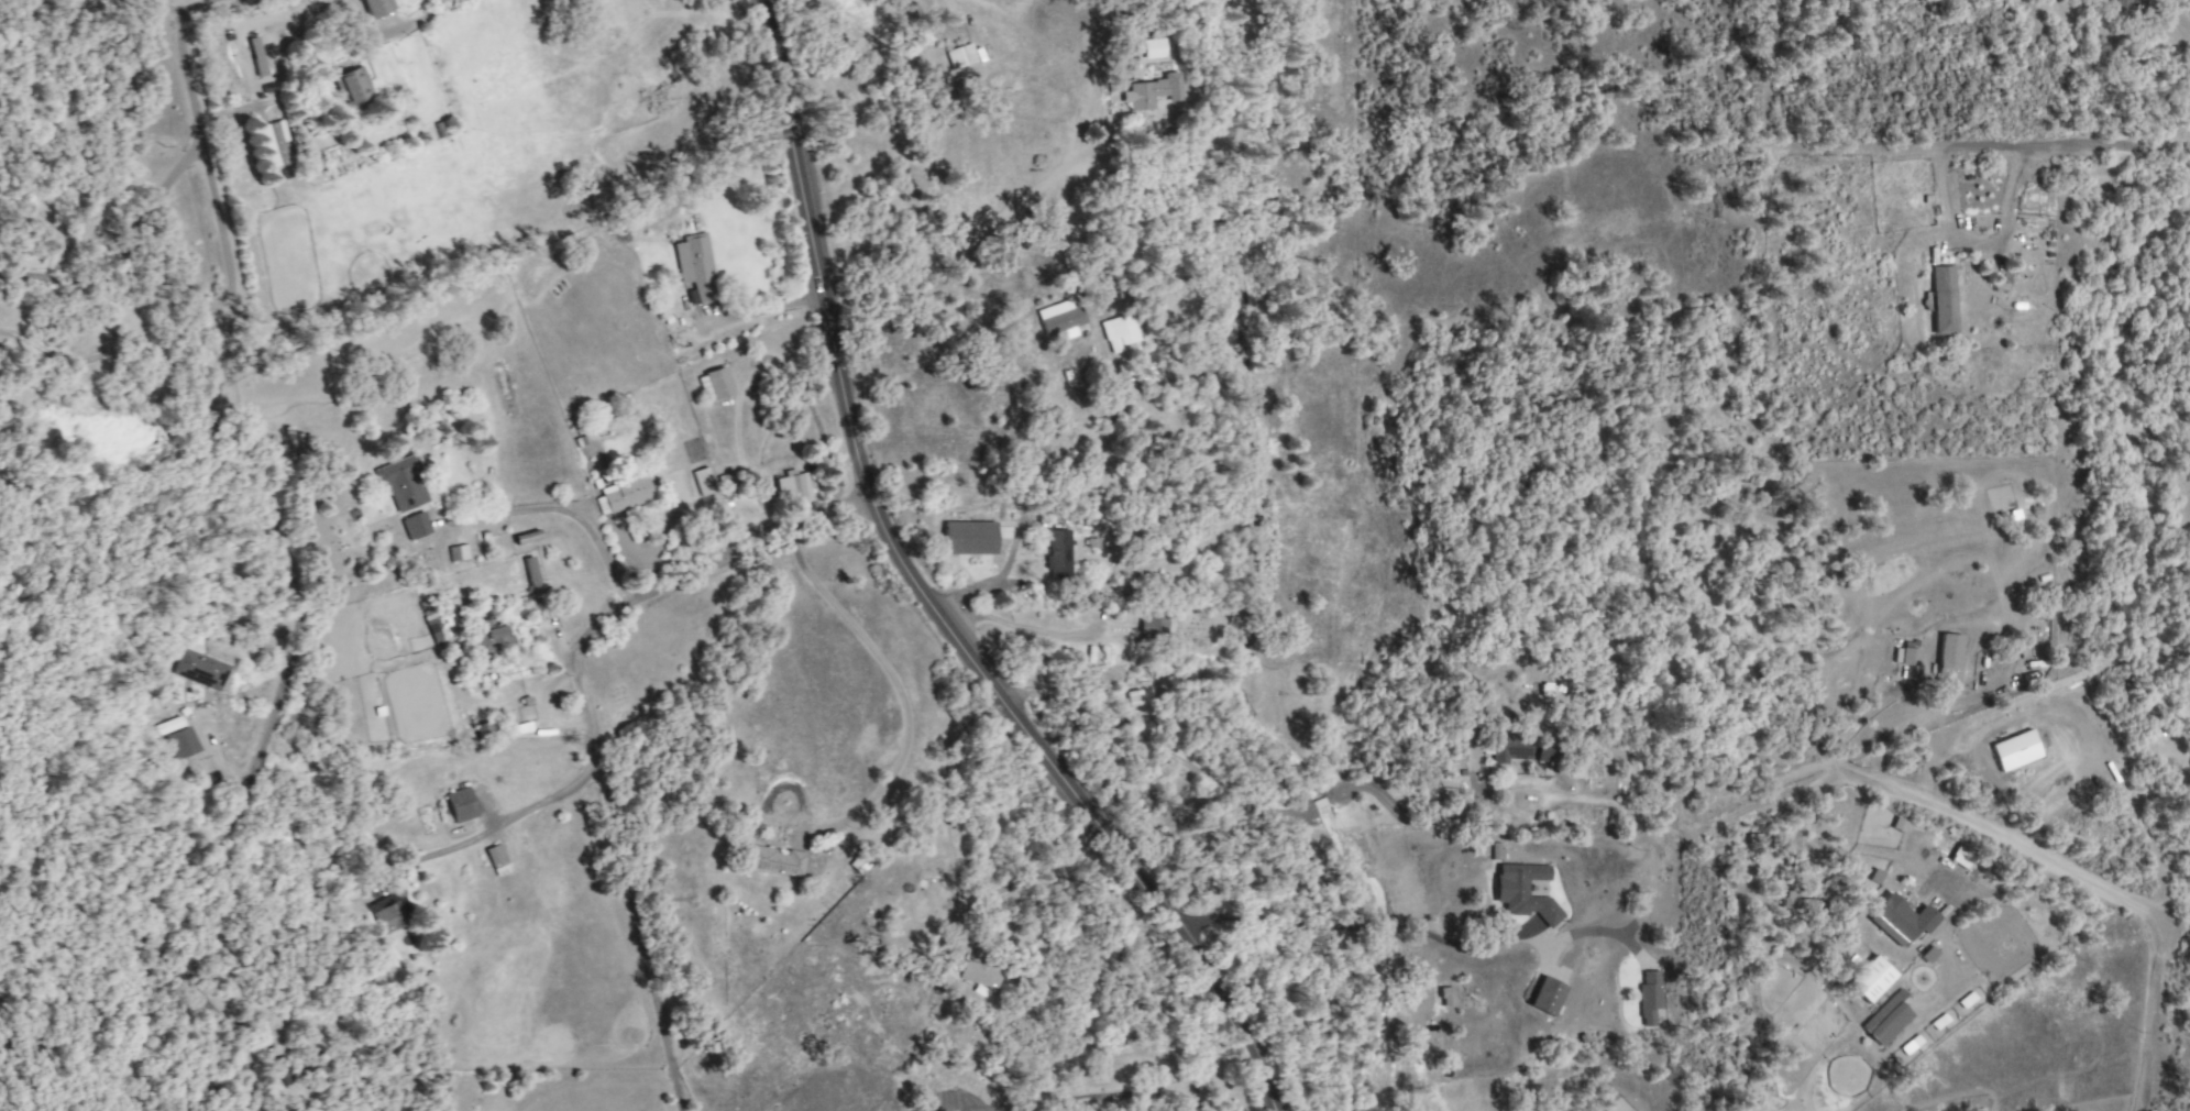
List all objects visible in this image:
building: (2120, 3)
building: (376, 7)
road: (168, 9)
road: (412, 16)
road: (2179, 28)
building: (1152, 48)
building: (256, 56)
building: (959, 56)
building: (353, 85)
building: (1149, 91)
road: (2183, 139)
building: (275, 144)
road: (2069, 148)
road: (975, 233)
road: (118, 242)
road: (1970, 243)
building: (694, 268)
building: (1943, 300)
road: (764, 309)
building: (1059, 320)
building: (1116, 332)
road: (119, 359)
building: (717, 383)
building: (702, 482)
building: (401, 483)
building: (726, 487)
building: (791, 488)
building: (625, 494)
road: (565, 513)
building: (415, 526)
building: (968, 538)
building: (456, 552)
building: (1057, 554)
road: (296, 566)
building: (529, 572)
road: (927, 597)
building: (1152, 624)
road: (1022, 630)
building: (491, 636)
building: (1908, 657)
building: (1947, 658)
building: (198, 670)
road: (896, 690)
road: (583, 694)
road: (1858, 719)
building: (169, 726)
building: (483, 730)
building: (180, 743)
building: (1509, 747)
building: (1545, 750)
building: (2014, 750)
building: (460, 805)
road: (1267, 813)
road: (515, 815)
building: (1896, 825)
road: (2013, 847)
building: (1495, 851)
building: (1959, 857)
building: (496, 860)
building: (773, 861)
road: (1020, 875)
road: (1998, 890)
building: (1522, 891)
building: (386, 914)
building: (1899, 920)
road: (1353, 926)
building: (978, 975)
building: (1870, 979)
building: (1545, 997)
building: (1444, 998)
building: (1648, 998)
road: (2146, 1015)
road: (227, 1018)
building: (1885, 1022)
road: (674, 1087)

